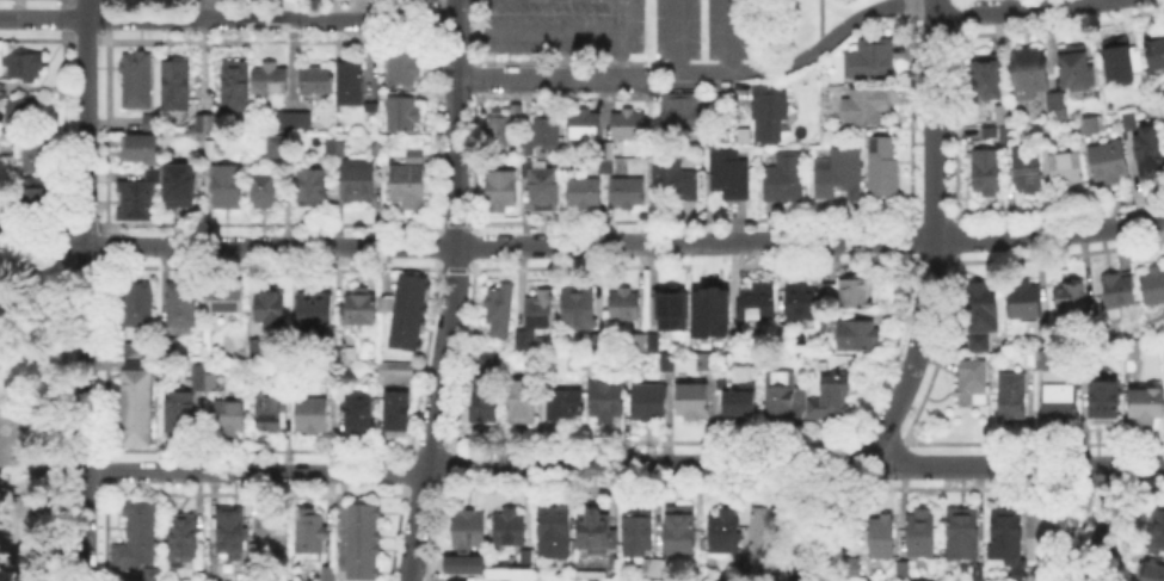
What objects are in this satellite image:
road: (934, 5)
road: (1009, 6)
road: (202, 10)
road: (227, 19)
parking lot: (616, 27)
road: (556, 32)
road: (675, 35)
road: (728, 35)
building: (1156, 52)
building: (872, 61)
road: (789, 62)
building: (26, 66)
building: (1119, 66)
building: (402, 67)
building: (1077, 68)
building: (1029, 74)
building: (989, 76)
building: (270, 79)
building: (137, 80)
road: (543, 80)
building: (316, 81)
building: (350, 84)
building: (175, 85)
building: (235, 86)
building: (1057, 100)
building: (374, 105)
building: (866, 107)
building: (25, 112)
building: (999, 112)
building: (400, 113)
building: (770, 113)
building: (686, 115)
building: (1128, 120)
road: (85, 122)
building: (294, 123)
building: (153, 124)
road: (934, 125)
building: (586, 126)
building: (629, 126)
building: (1090, 126)
building: (203, 129)
building: (1045, 129)
building: (504, 130)
building: (996, 132)
building: (543, 137)
building: (723, 138)
building: (279, 146)
building: (334, 149)
building: (141, 150)
building: (1148, 150)
building: (39, 154)
building: (605, 159)
building: (1110, 162)
building: (882, 168)
building: (1028, 169)
building: (1068, 171)
building: (839, 173)
building: (989, 173)
building: (729, 175)
building: (358, 179)
building: (678, 179)
building: (784, 179)
building: (408, 181)
building: (180, 186)
building: (228, 187)
building: (312, 187)
building: (504, 188)
building: (265, 190)
building: (546, 190)
building: (0, 192)
building: (586, 193)
building: (629, 193)
building: (38, 199)
building: (137, 200)
building: (500, 208)
road: (1048, 233)
road: (509, 242)
road: (42, 245)
building: (1152, 284)
building: (1115, 288)
road: (449, 291)
building: (855, 296)
building: (224, 298)
building: (1021, 298)
building: (1067, 299)
building: (137, 303)
building: (759, 303)
building: (803, 303)
building: (180, 304)
building: (627, 305)
building: (673, 305)
building: (715, 305)
building: (271, 309)
building: (362, 309)
building: (579, 309)
building: (541, 310)
building: (500, 311)
building: (977, 311)
building: (409, 313)
building: (314, 314)
building: (826, 322)
building: (654, 334)
building: (784, 334)
building: (858, 336)
building: (697, 338)
building: (646, 340)
building: (524, 341)
building: (546, 342)
building: (601, 342)
building: (738, 342)
building: (168, 348)
building: (258, 348)
building: (344, 350)
building: (1134, 351)
building: (1027, 356)
building: (1042, 357)
building: (667, 364)
building: (708, 364)
building: (398, 373)
building: (968, 379)
building: (205, 382)
building: (725, 382)
building: (487, 391)
building: (832, 393)
building: (1008, 394)
building: (1055, 394)
building: (782, 396)
building: (1101, 397)
building: (608, 401)
building: (1146, 401)
building: (692, 402)
building: (740, 402)
building: (522, 403)
building: (566, 404)
building: (651, 404)
building: (135, 407)
building: (269, 410)
building: (178, 412)
road: (85, 413)
building: (396, 413)
building: (312, 414)
building: (227, 415)
building: (361, 415)
road: (887, 420)
park: (30, 421)
park: (14, 426)
road: (623, 463)
road: (42, 471)
building: (26, 495)
road: (1104, 523)
building: (270, 524)
building: (505, 525)
building: (466, 526)
building: (228, 527)
building: (591, 527)
building: (1157, 529)
building: (550, 530)
building: (676, 530)
building: (766, 530)
building: (634, 531)
building: (721, 531)
building: (960, 531)
building: (1002, 532)
building: (1041, 532)
road: (17, 533)
building: (135, 533)
building: (309, 533)
building: (917, 533)
building: (879, 534)
building: (180, 536)
building: (363, 542)
building: (257, 550)
building: (526, 561)
building: (649, 565)
building: (900, 567)
building: (468, 568)
building: (852, 568)
building: (974, 569)
building: (328, 571)
building: (1151, 571)
building: (148, 573)
building: (919, 579)
building: (452, 580)
building: (872, 580)
building: (975, 580)

